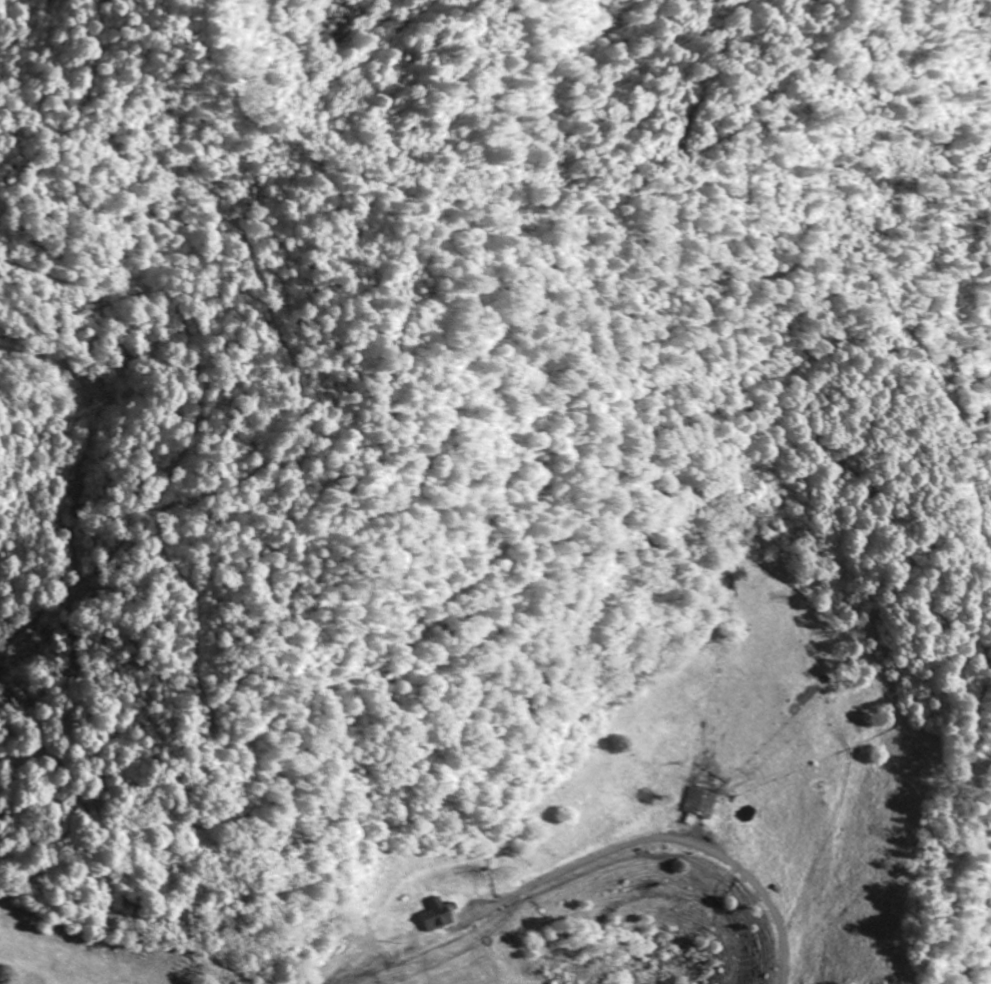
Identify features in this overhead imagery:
building: (693, 804)
building: (439, 914)

